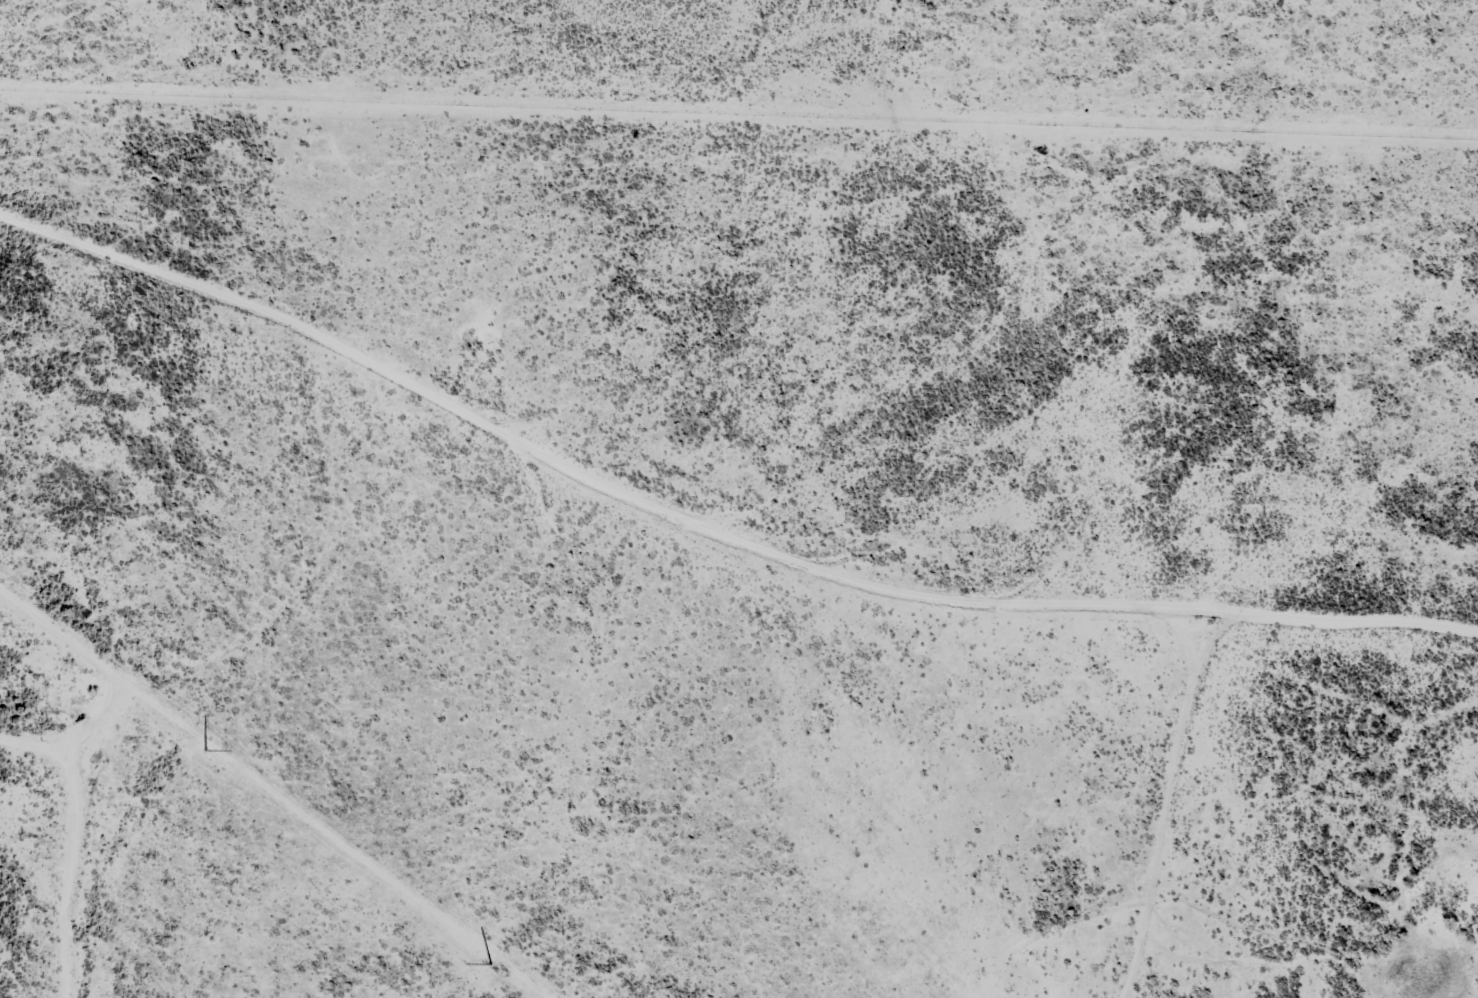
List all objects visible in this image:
power tower: (208, 751)
power tower: (492, 963)

